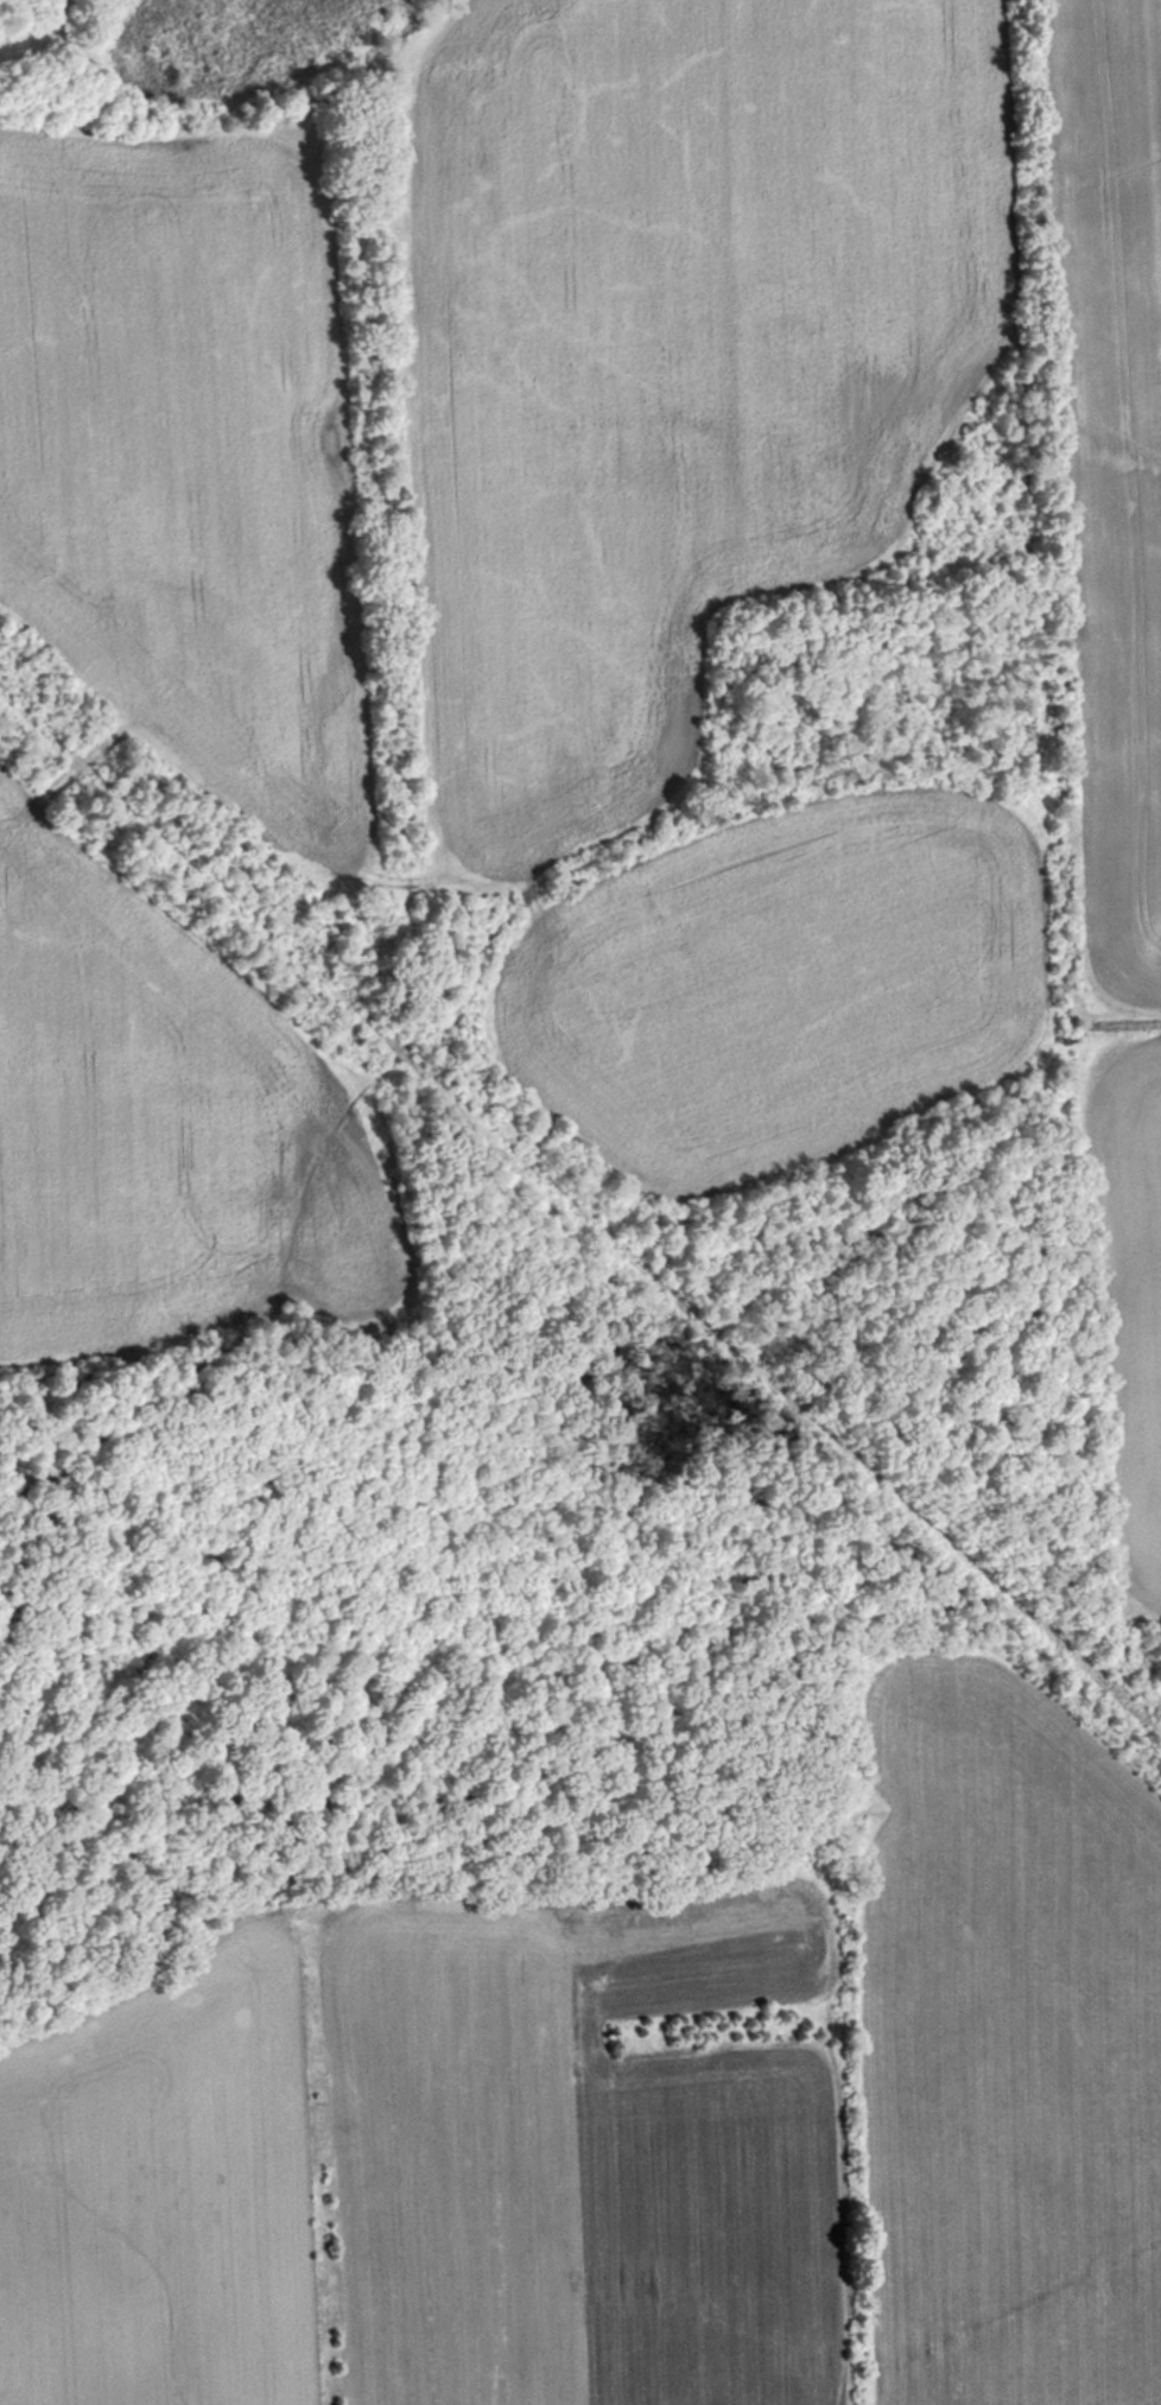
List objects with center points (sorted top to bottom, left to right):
railway: (580, 1212)

